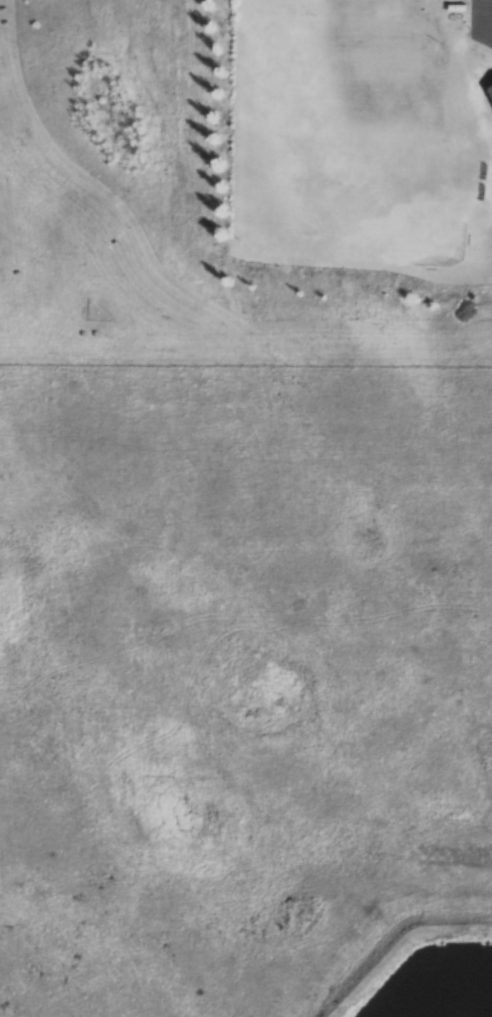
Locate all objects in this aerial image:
street lamp: (468, 22)
park: (325, 128)

